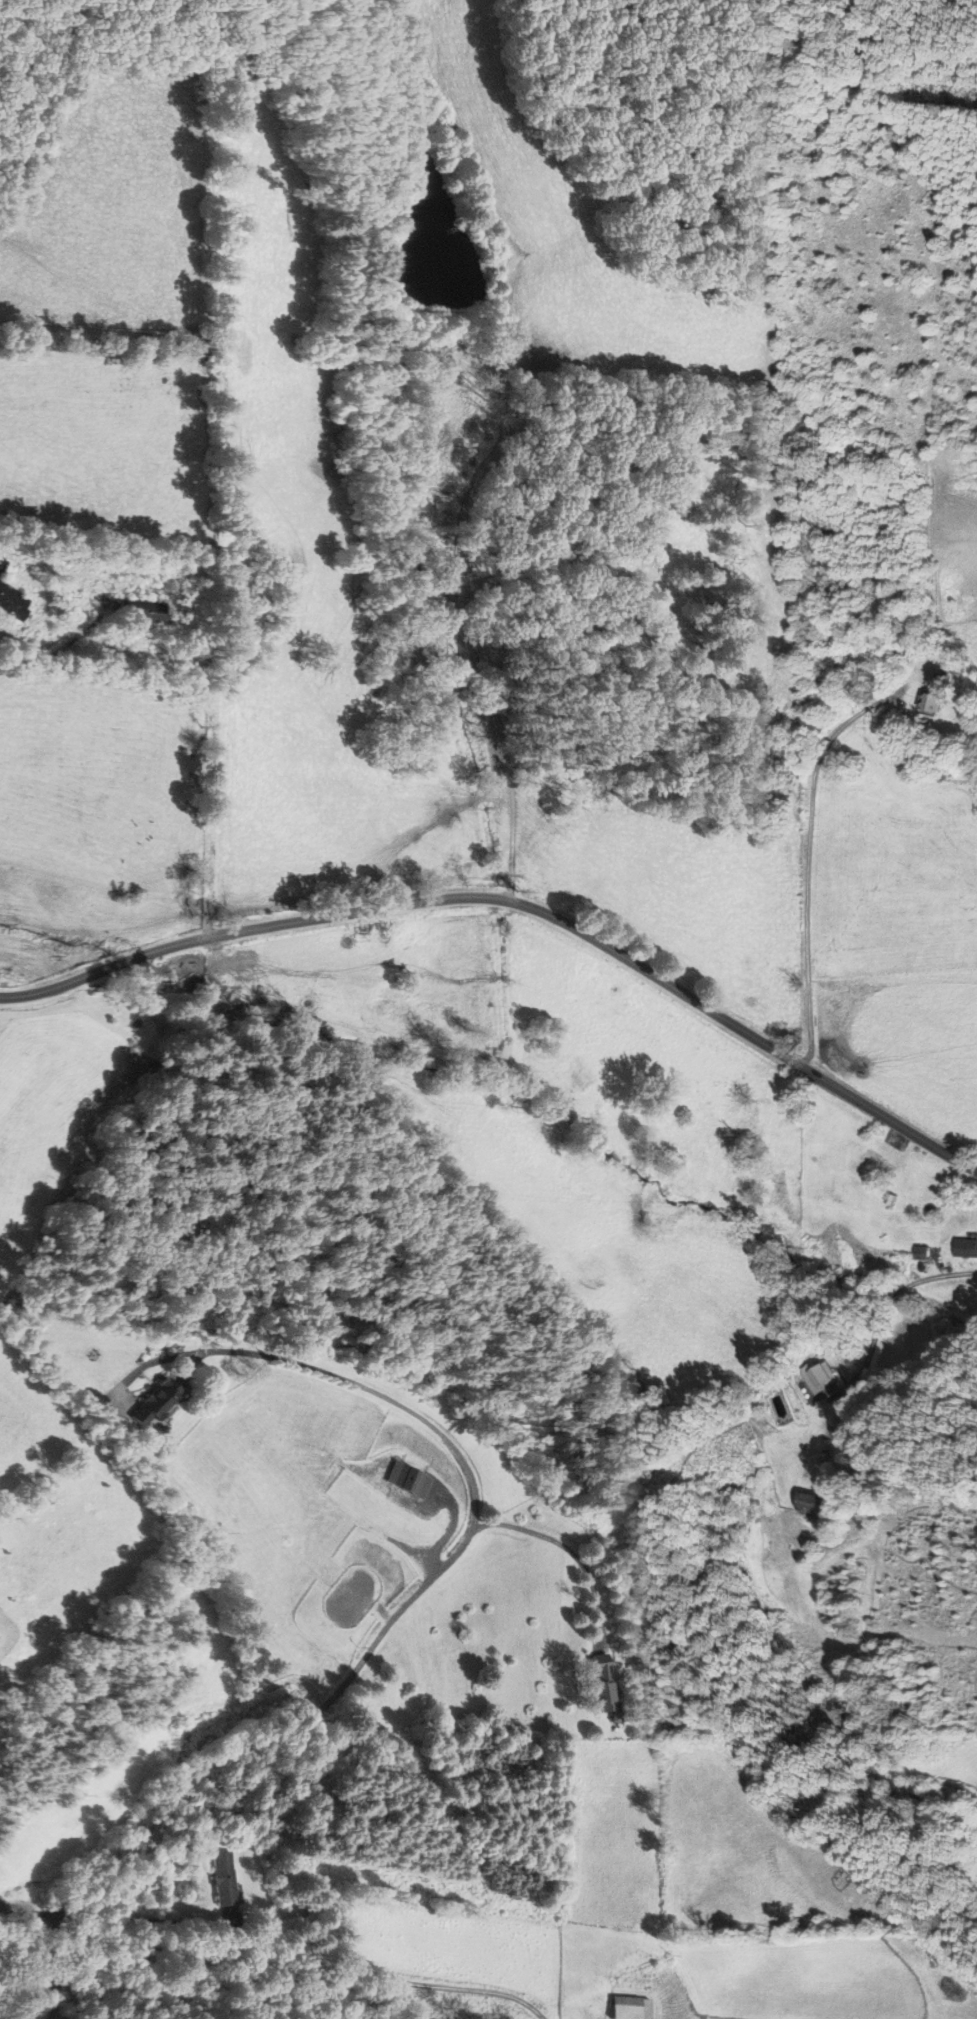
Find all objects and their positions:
building: (3, 563)
building: (12, 600)
building: (145, 608)
road: (469, 642)
road: (59, 649)
building: (925, 700)
road: (808, 863)
road: (518, 901)
building: (867, 1162)
building: (961, 1249)
building: (913, 1254)
road: (927, 1277)
building: (807, 1378)
building: (163, 1404)
building: (413, 1480)
building: (797, 1505)
road: (567, 1552)
road: (425, 1585)
building: (606, 1683)
building: (226, 1879)
road: (131, 1917)
road: (271, 1978)
building: (634, 2008)

